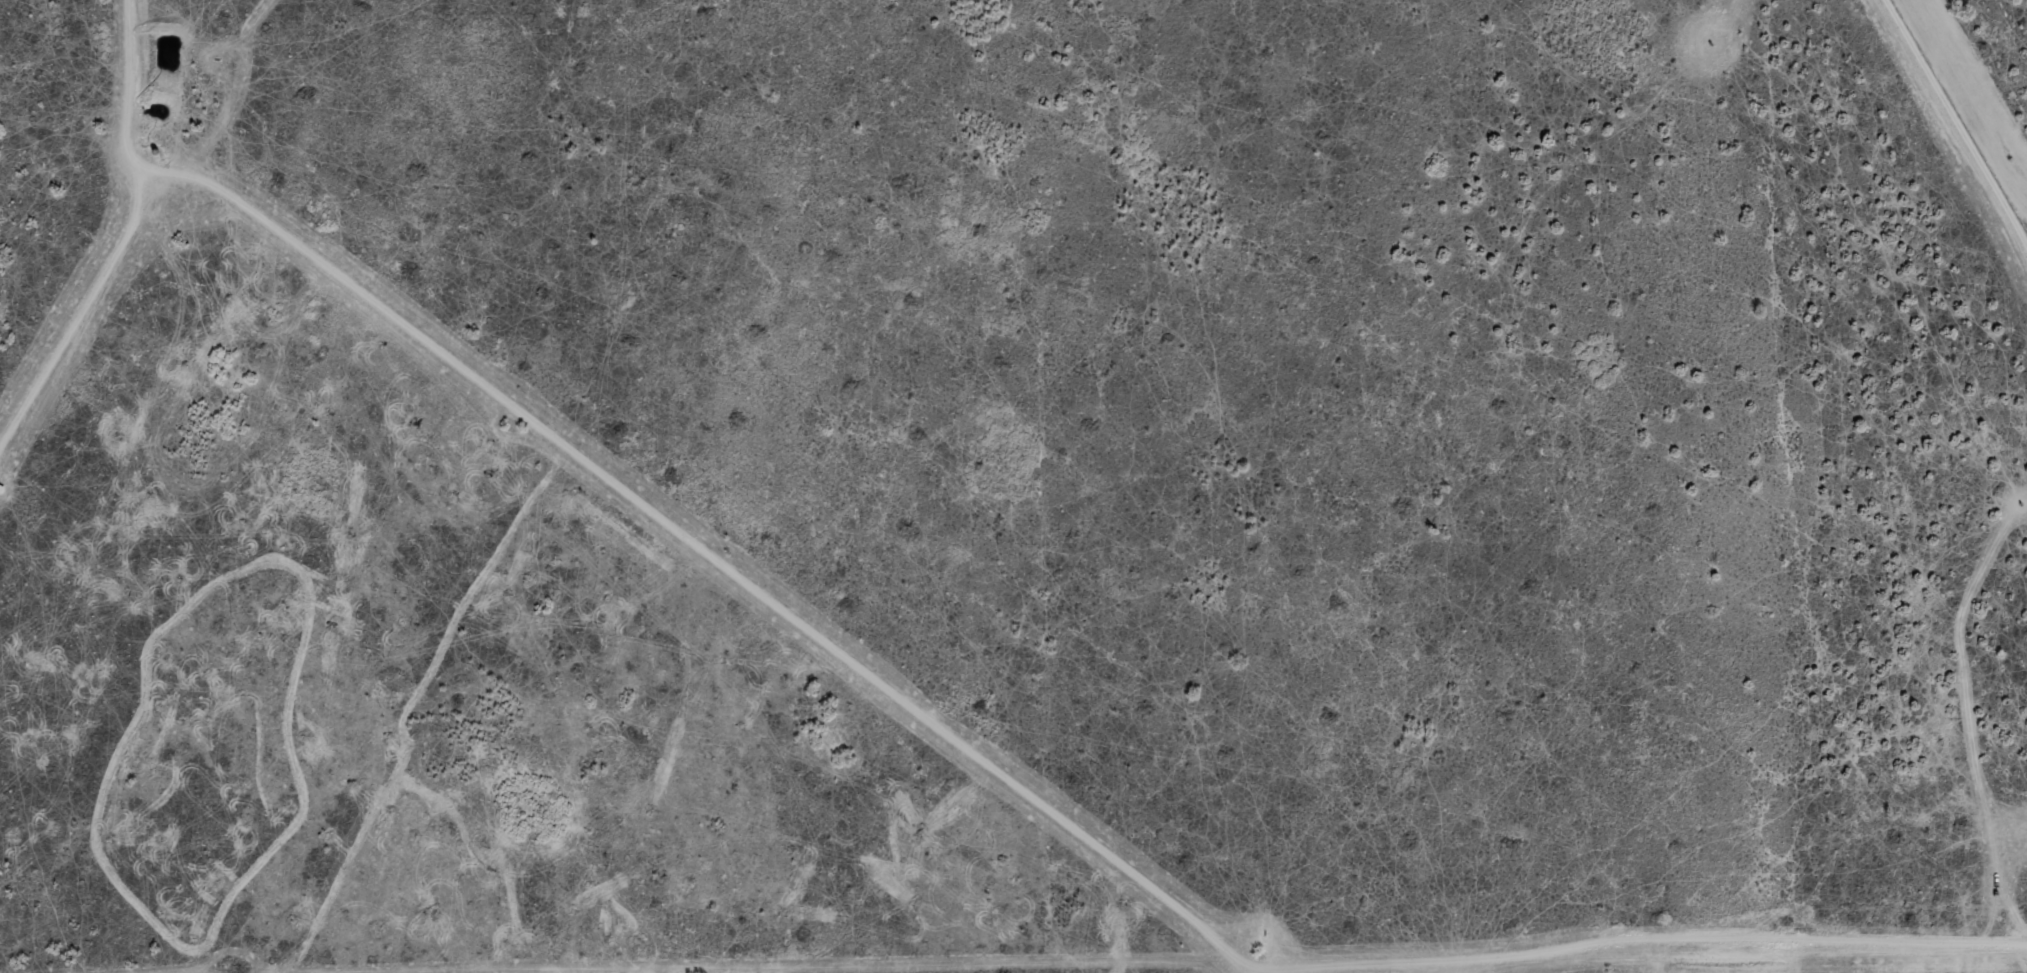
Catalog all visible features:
road: (1949, 132)

